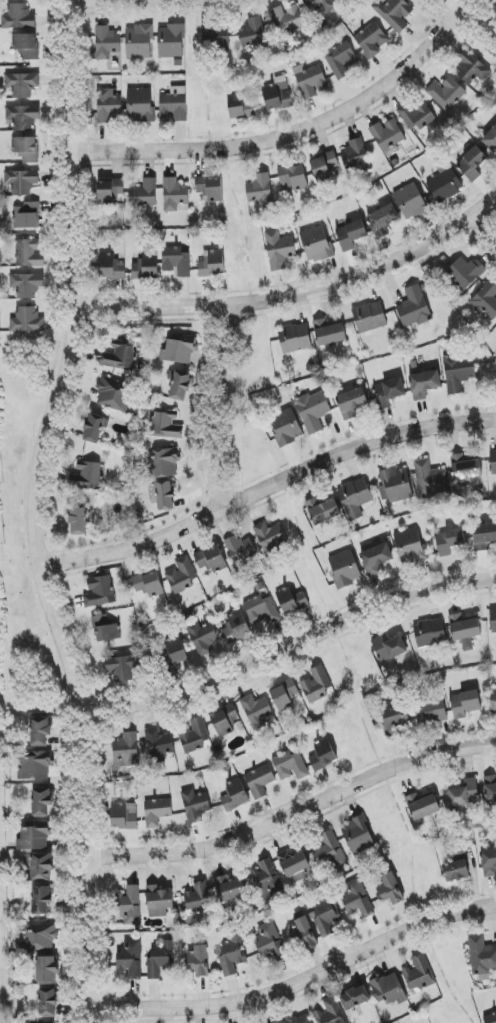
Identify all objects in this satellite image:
building: (320, 5)
building: (394, 13)
building: (18, 17)
road: (472, 18)
building: (286, 19)
building: (252, 34)
building: (215, 36)
building: (371, 40)
building: (171, 41)
building: (139, 42)
building: (106, 43)
building: (26, 46)
building: (340, 59)
building: (471, 69)
building: (310, 80)
building: (22, 84)
building: (445, 93)
building: (277, 95)
building: (174, 104)
building: (108, 105)
building: (140, 105)
building: (240, 106)
building: (416, 116)
building: (22, 117)
road: (286, 134)
building: (387, 135)
building: (491, 140)
building: (26, 149)
building: (354, 155)
building: (472, 163)
building: (324, 164)
building: (293, 177)
building: (21, 182)
building: (445, 185)
building: (210, 188)
building: (260, 190)
building: (110, 191)
building: (144, 194)
building: (174, 194)
building: (410, 202)
building: (27, 216)
building: (382, 221)
road: (486, 224)
building: (351, 235)
building: (316, 244)
building: (280, 250)
building: (28, 254)
building: (176, 261)
building: (212, 264)
building: (110, 267)
building: (146, 267)
building: (464, 273)
building: (26, 285)
road: (298, 293)
building: (486, 301)
building: (414, 308)
building: (369, 317)
building: (27, 321)
building: (329, 333)
building: (294, 338)
building: (178, 352)
building: (120, 357)
building: (459, 373)
building: (424, 384)
building: (179, 385)
building: (389, 392)
building: (114, 395)
building: (352, 403)
road: (218, 407)
building: (313, 411)
building: (165, 426)
building: (286, 427)
building: (94, 428)
building: (163, 462)
building: (493, 462)
building: (466, 468)
building: (87, 478)
building: (430, 479)
building: (397, 485)
road: (266, 488)
building: (162, 495)
building: (354, 498)
building: (323, 511)
road: (34, 512)
building: (77, 520)
building: (484, 536)
building: (269, 538)
building: (449, 541)
building: (409, 546)
building: (241, 551)
building: (375, 559)
building: (211, 560)
building: (345, 569)
building: (182, 575)
building: (149, 584)
building: (98, 591)
building: (291, 600)
building: (262, 610)
building: (493, 621)
building: (236, 628)
building: (105, 629)
building: (464, 630)
building: (430, 633)
building: (202, 638)
road: (289, 646)
building: (389, 648)
building: (174, 652)
building: (123, 667)
building: (316, 685)
building: (284, 695)
building: (493, 697)
building: (465, 704)
building: (430, 710)
building: (256, 711)
building: (394, 715)
building: (225, 720)
building: (39, 731)
building: (194, 735)
building: (158, 745)
building: (126, 751)
building: (323, 755)
building: (35, 766)
building: (290, 766)
building: (260, 781)
building: (490, 788)
building: (465, 794)
building: (234, 795)
building: (41, 802)
building: (195, 805)
building: (422, 806)
building: (157, 812)
road: (293, 814)
building: (124, 816)
building: (357, 836)
building: (33, 839)
building: (331, 853)
building: (489, 863)
building: (294, 866)
building: (41, 867)
building: (456, 871)
building: (266, 880)
building: (229, 888)
building: (389, 888)
building: (355, 899)
building: (41, 900)
building: (159, 901)
building: (198, 902)
building: (130, 905)
building: (324, 917)
building: (303, 932)
building: (38, 938)
building: (269, 942)
building: (231, 955)
building: (481, 955)
building: (130, 959)
building: (160, 960)
building: (199, 961)
building: (46, 970)
building: (418, 975)
road: (299, 981)
building: (389, 989)
building: (355, 998)
building: (47, 1003)
building: (329, 1012)
building: (490, 1018)
building: (300, 1019)

